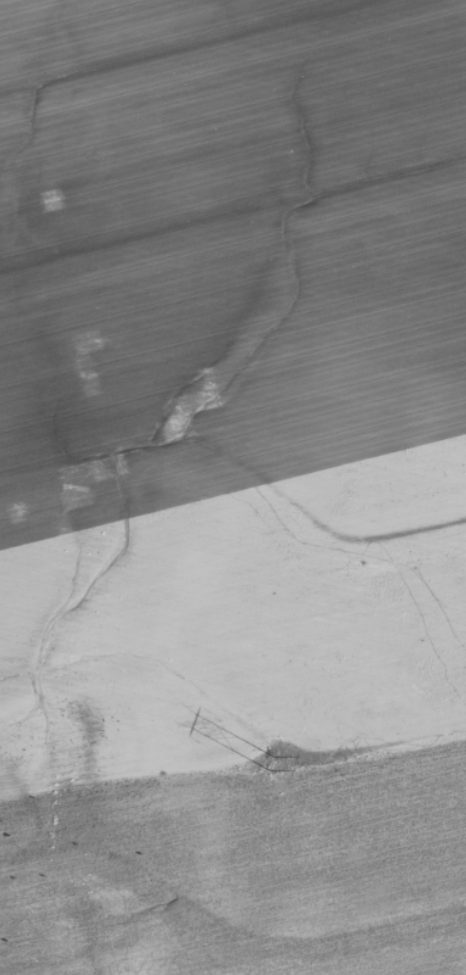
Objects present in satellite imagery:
power tower: (263, 764)

